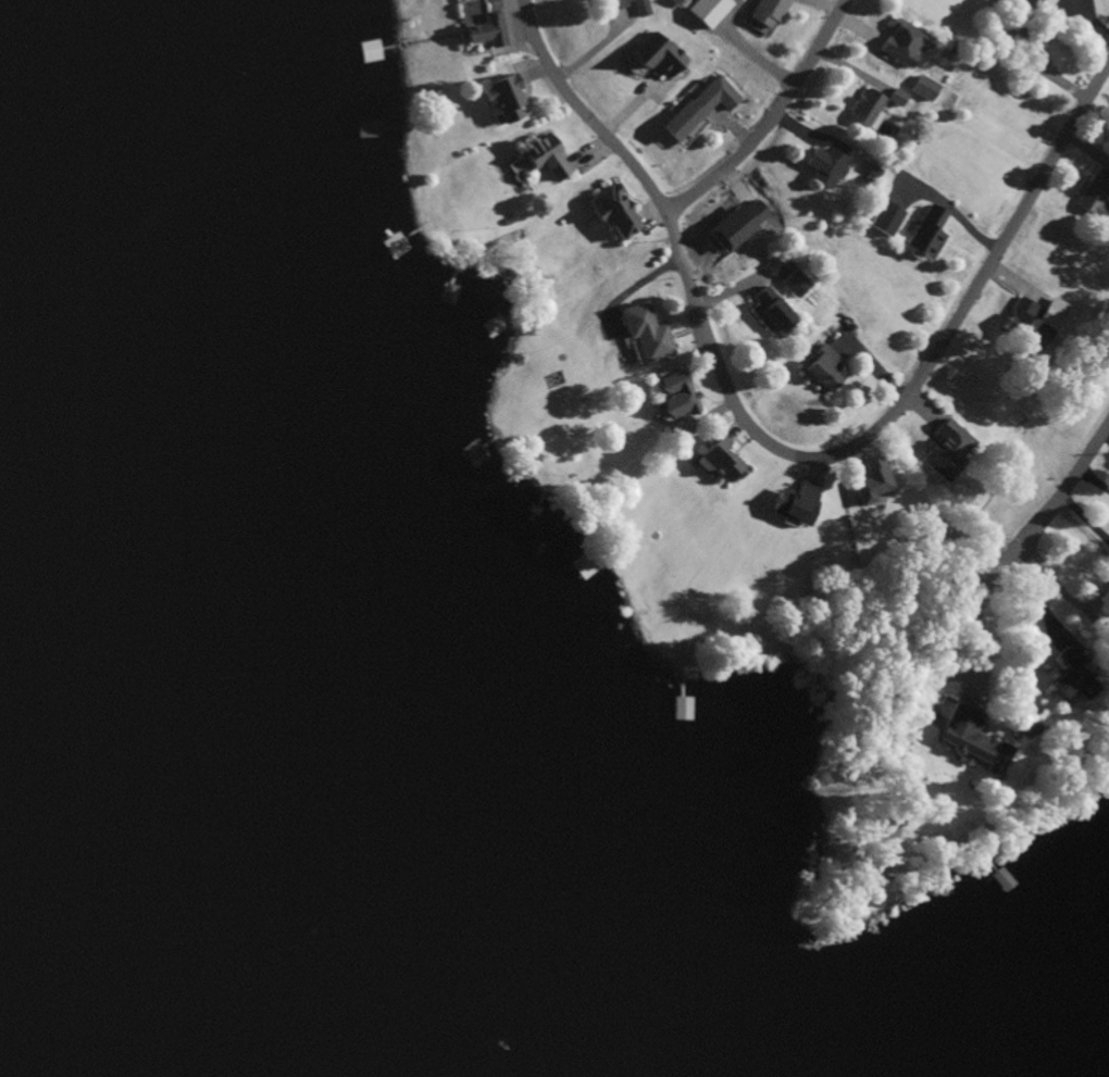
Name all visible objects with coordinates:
building: (1049, 2)
building: (618, 7)
building: (707, 9)
building: (769, 10)
building: (484, 34)
building: (899, 45)
building: (366, 53)
building: (924, 86)
building: (897, 93)
building: (499, 100)
building: (695, 110)
building: (862, 110)
road: (771, 121)
building: (539, 158)
building: (821, 168)
building: (1091, 202)
building: (611, 213)
building: (886, 216)
building: (920, 235)
building: (797, 280)
building: (768, 313)
building: (493, 326)
building: (1019, 327)
building: (641, 336)
building: (817, 370)
building: (672, 397)
building: (465, 446)
building: (939, 452)
road: (785, 454)
building: (717, 460)
road: (1060, 500)
building: (789, 504)
building: (580, 567)
building: (1108, 634)
building: (1061, 677)
building: (675, 711)
building: (963, 740)
building: (987, 872)

